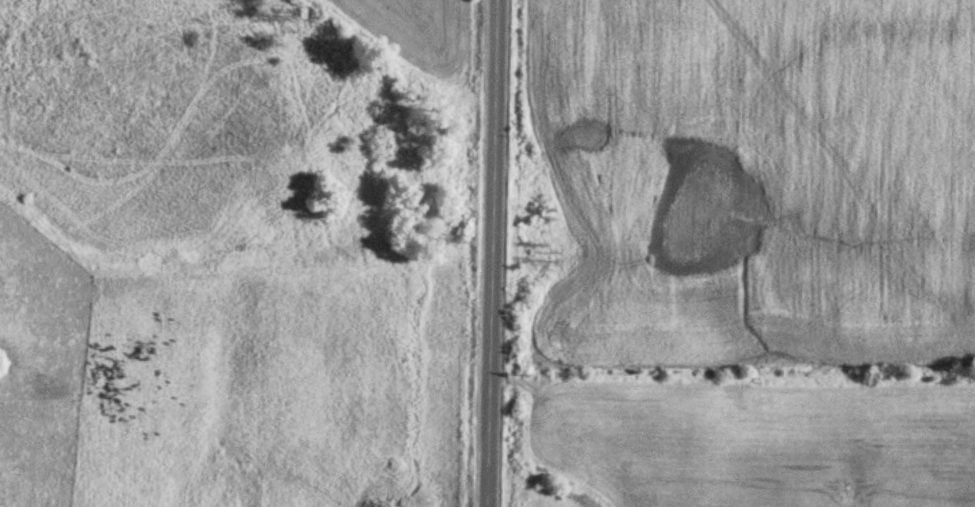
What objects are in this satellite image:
road: (491, 253)

